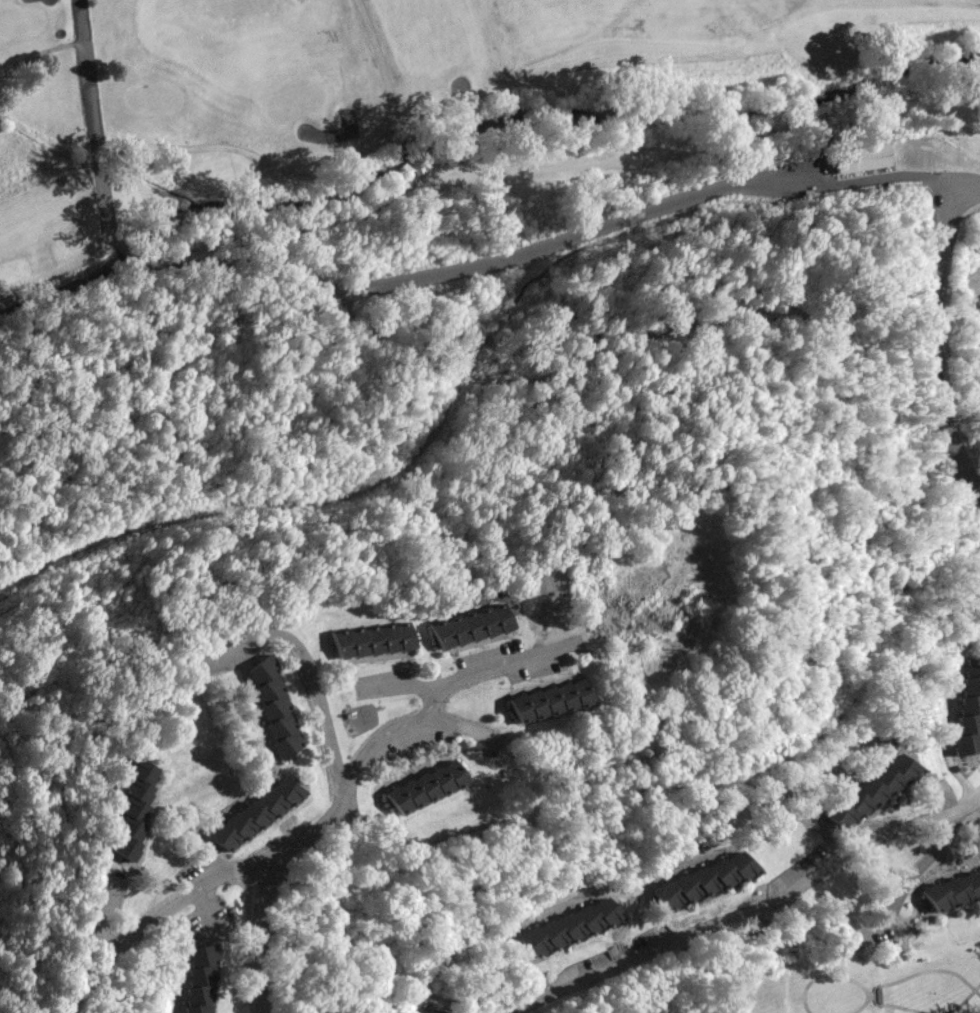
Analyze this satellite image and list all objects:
road: (38, 54)
park: (431, 99)
road: (406, 146)
road: (563, 164)
building: (415, 165)
road: (310, 168)
road: (99, 178)
road: (119, 241)
road: (143, 259)
building: (974, 321)
road: (932, 341)
building: (472, 626)
building: (373, 641)
road: (521, 658)
road: (401, 688)
building: (551, 698)
building: (272, 707)
building: (969, 707)
road: (431, 721)
building: (427, 783)
building: (871, 785)
road: (343, 798)
building: (132, 807)
building: (255, 812)
road: (923, 861)
building: (705, 878)
building: (952, 891)
road: (750, 907)
road: (202, 909)
road: (157, 916)
building: (570, 925)
building: (199, 978)
building: (426, 1010)

